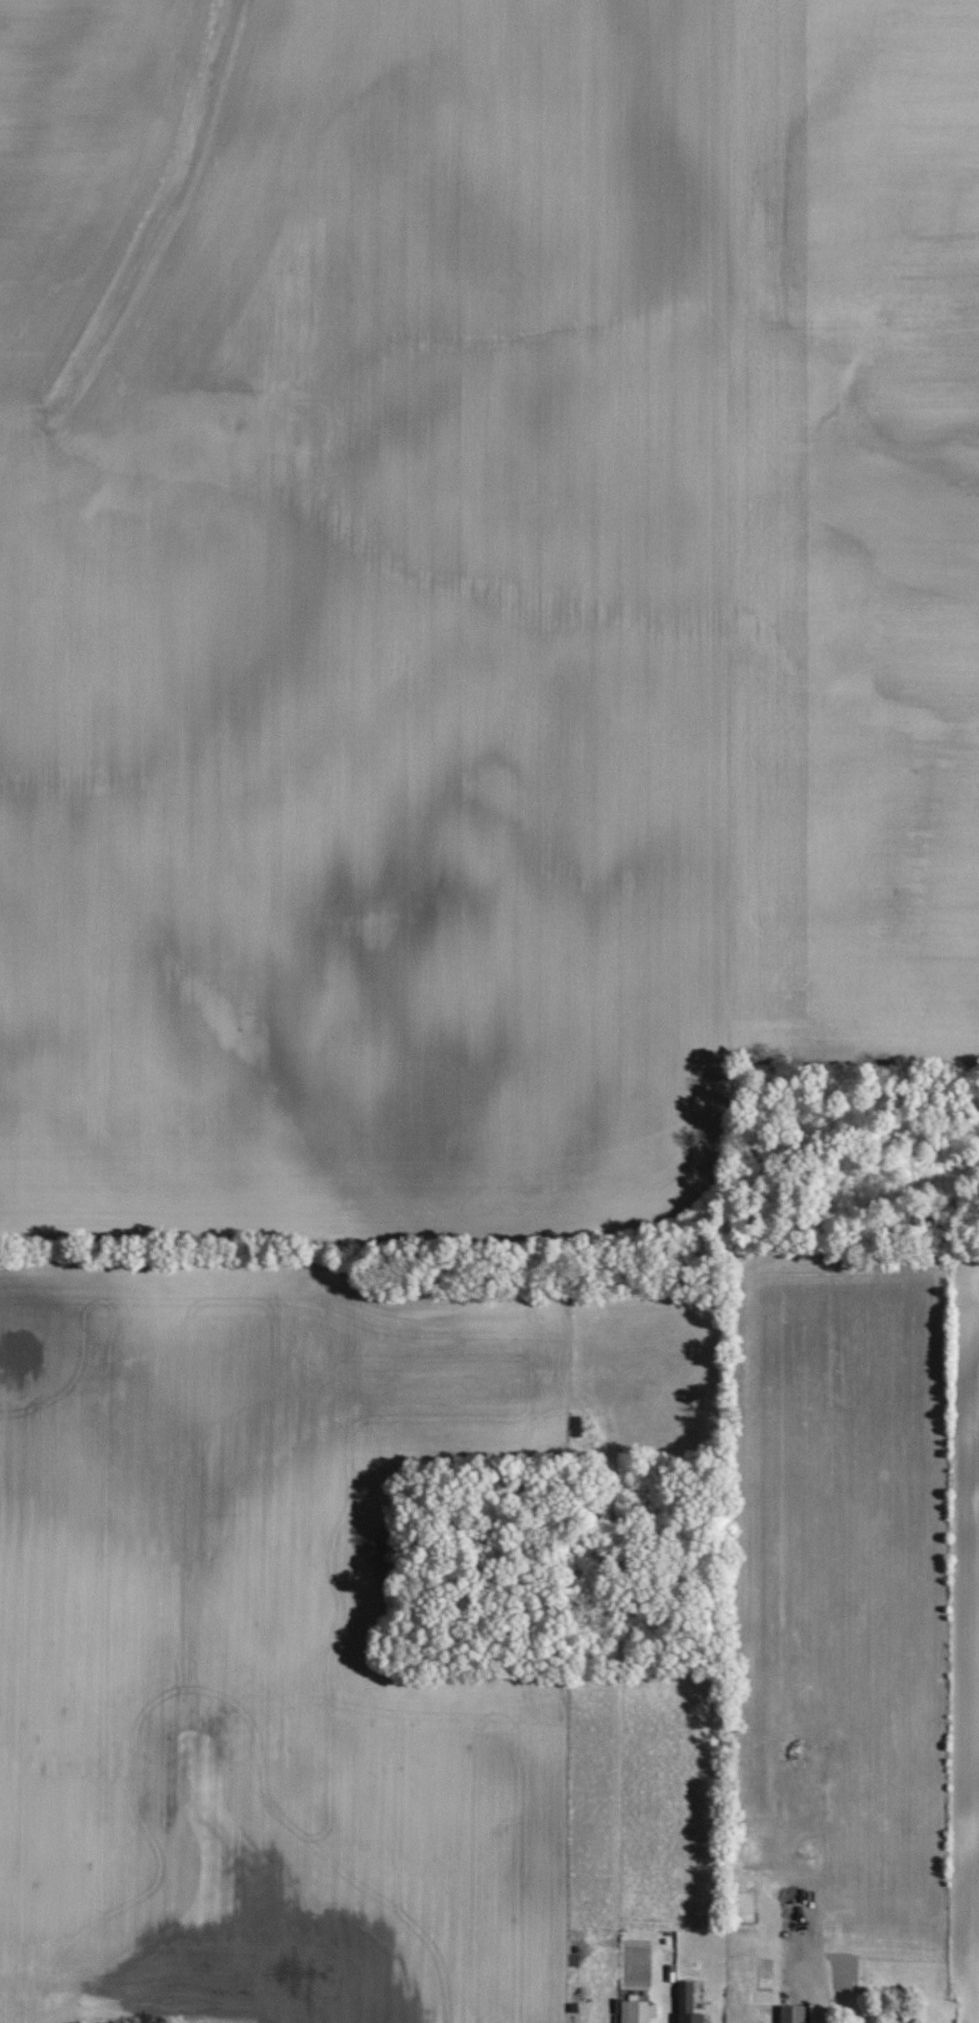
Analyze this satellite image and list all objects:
building: (687, 2004)
building: (637, 2011)
building: (792, 2013)

